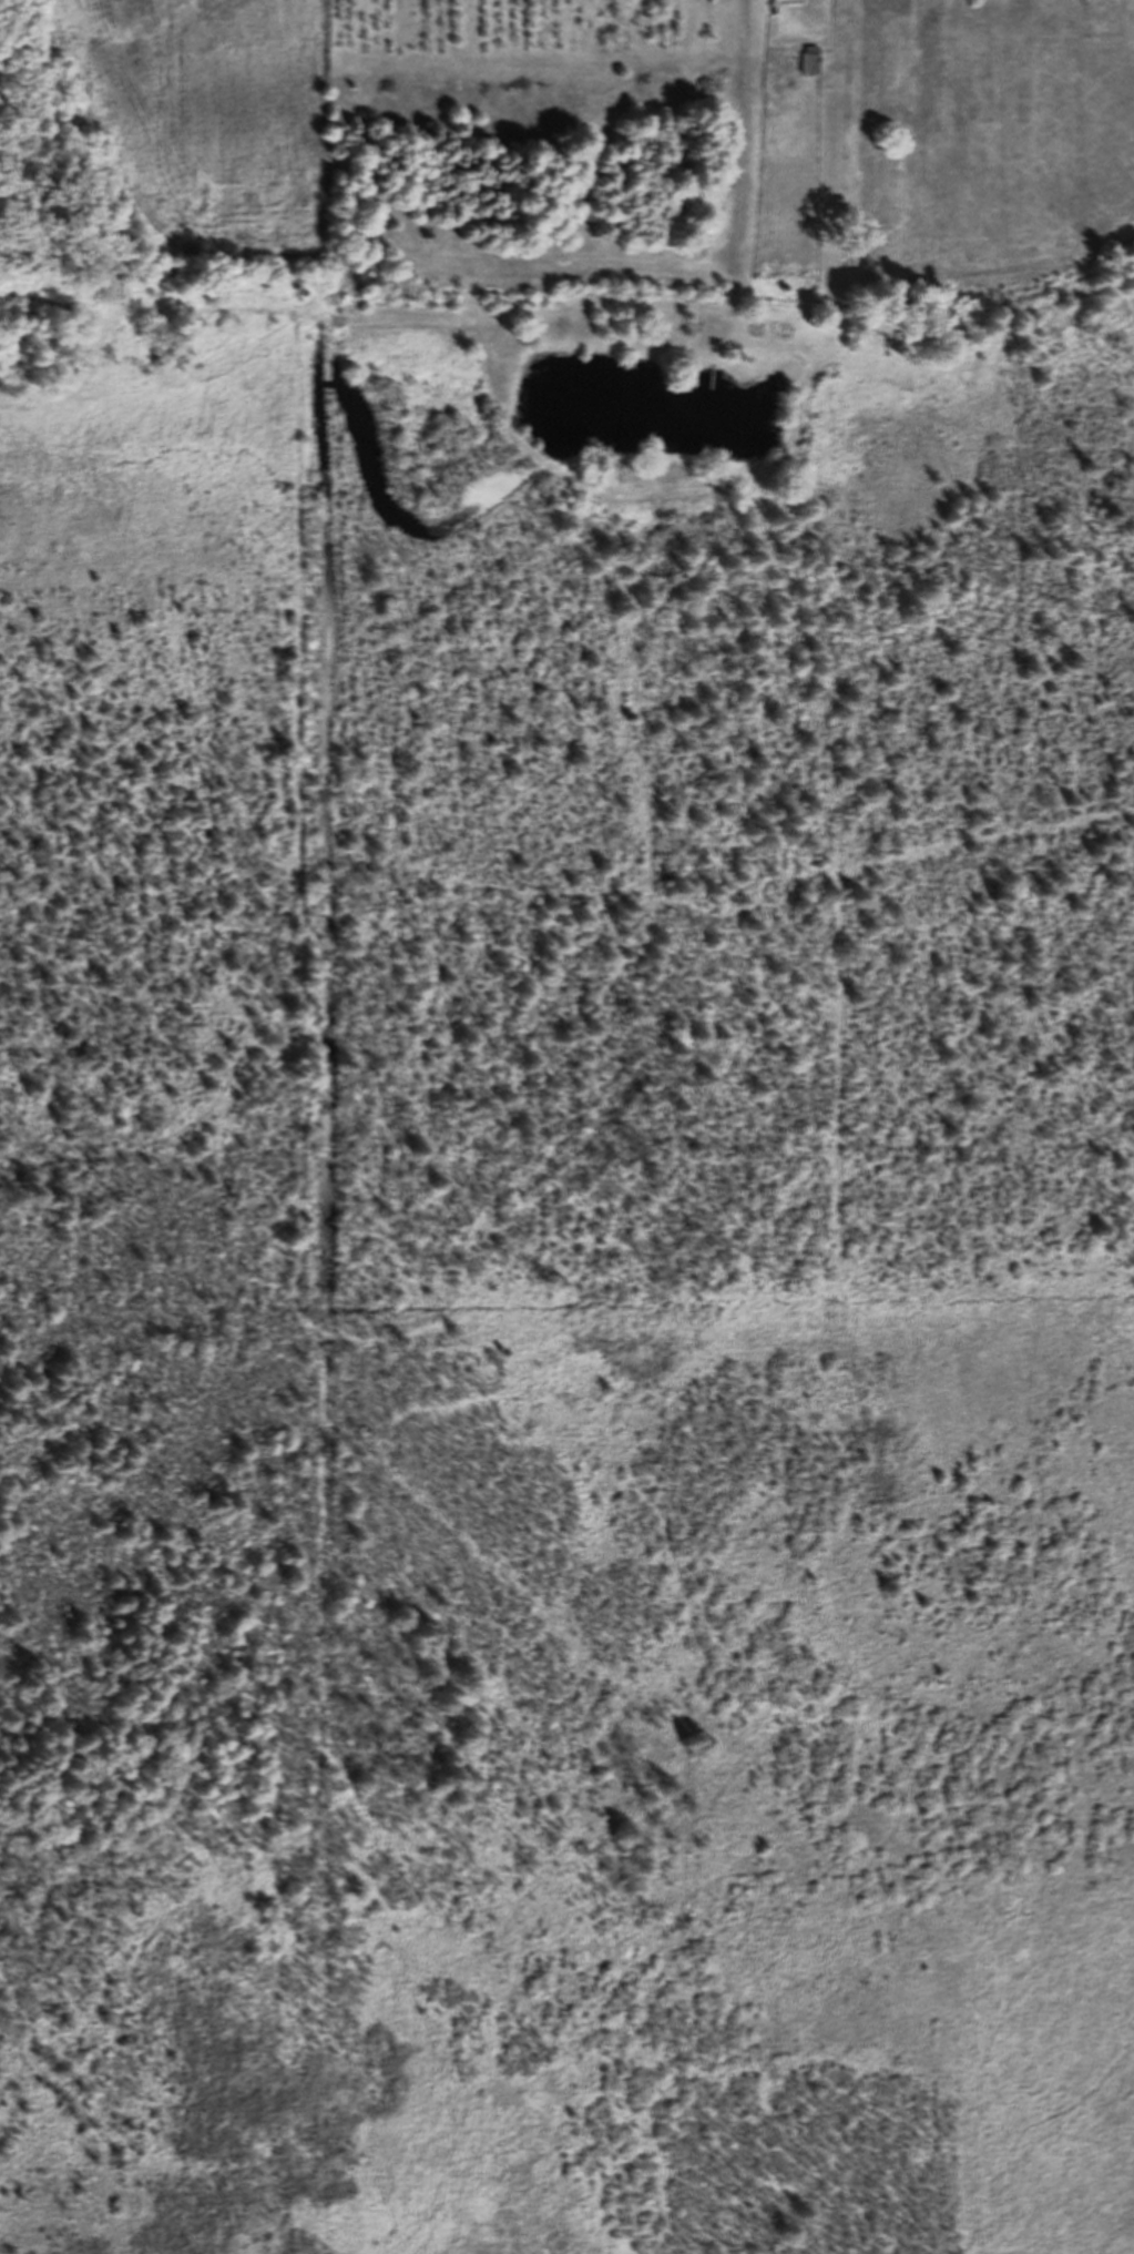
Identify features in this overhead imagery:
building: (806, 70)

